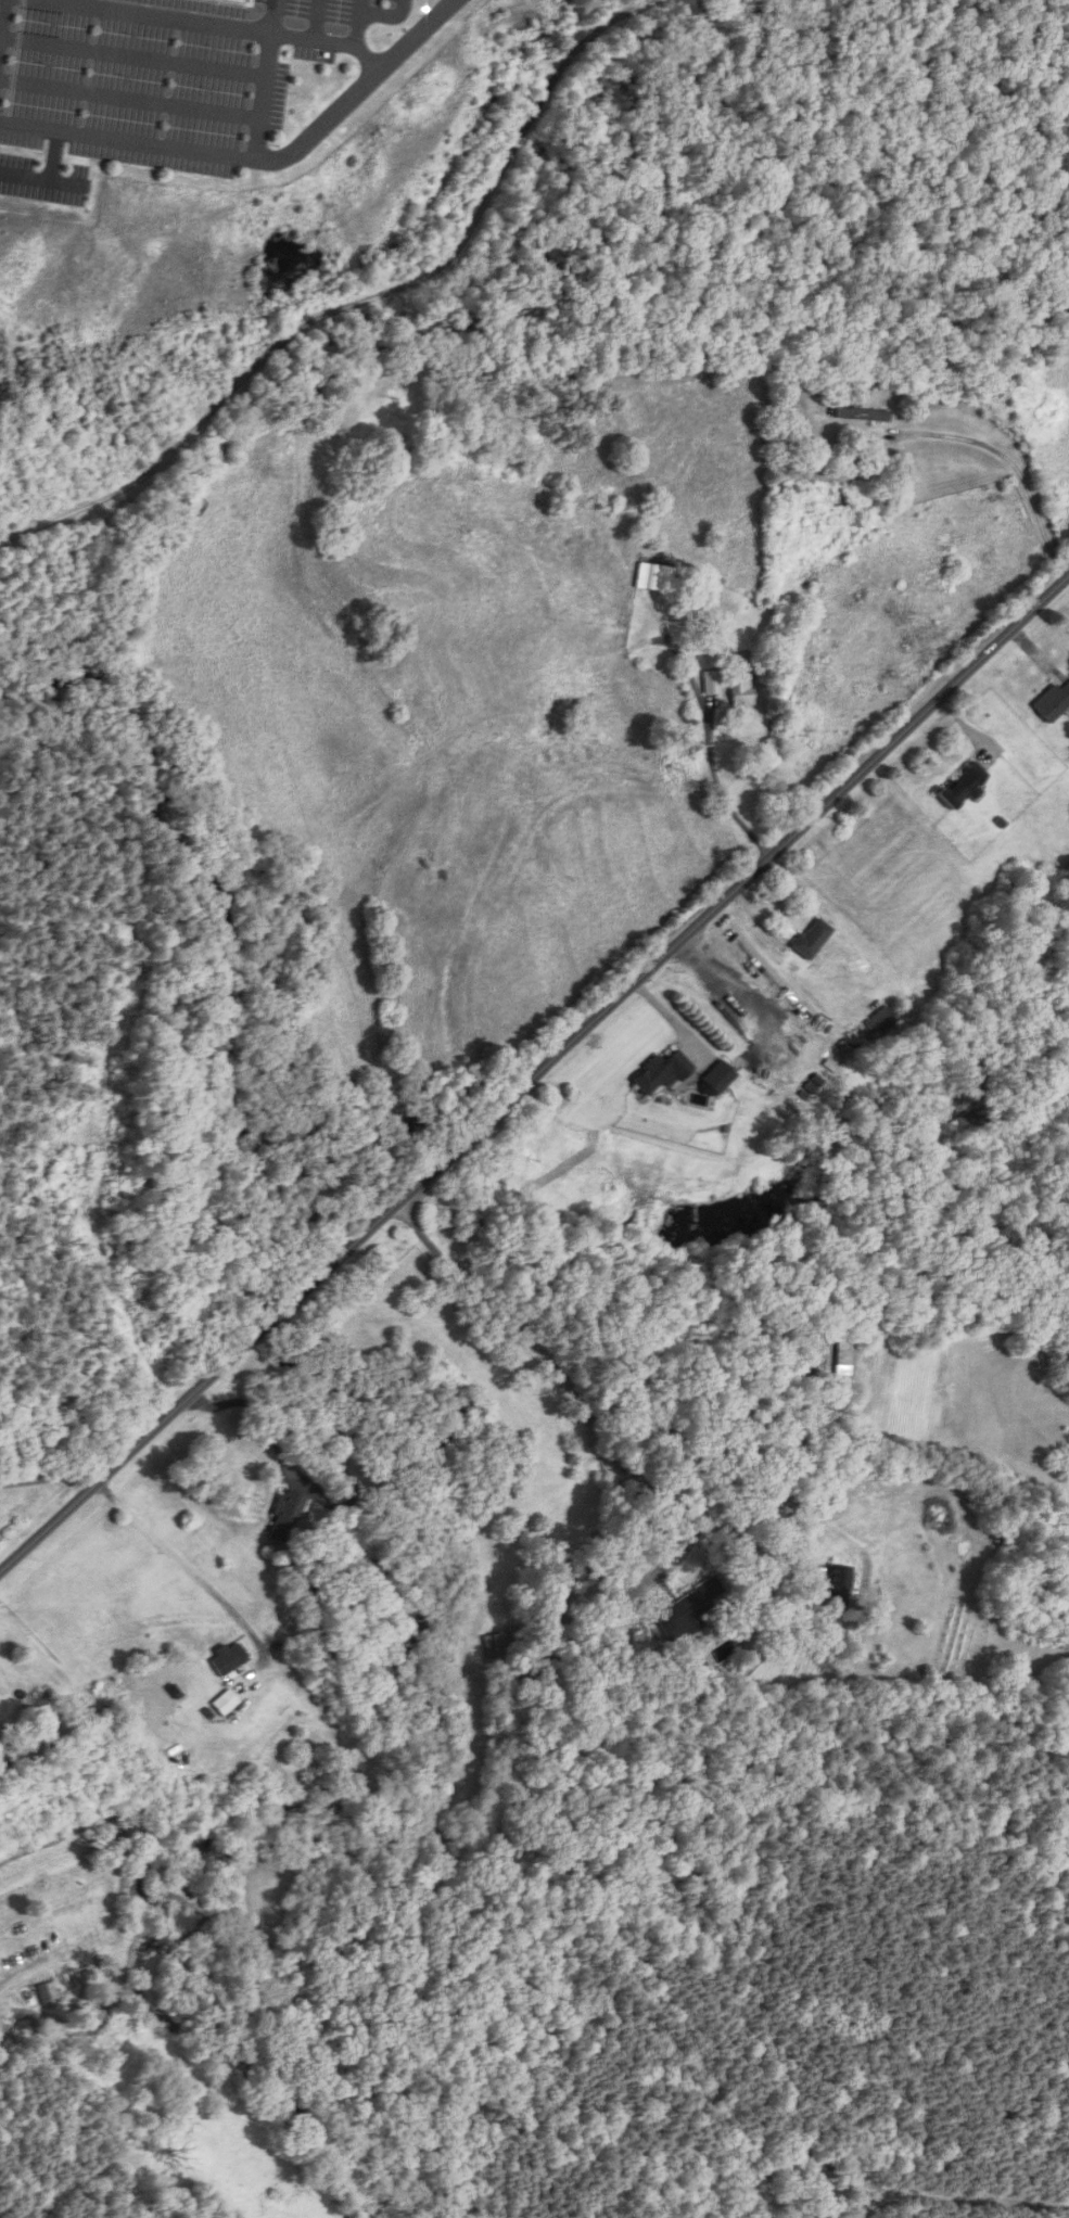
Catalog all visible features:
road: (256, 160)
building: (863, 415)
road: (1011, 461)
building: (654, 577)
building: (711, 683)
building: (741, 687)
building: (1052, 702)
building: (962, 786)
building: (812, 939)
road: (746, 999)
road: (674, 1021)
building: (661, 1072)
road: (533, 1075)
building: (717, 1076)
road: (266, 1326)
building: (815, 1349)
building: (843, 1350)
road: (256, 1405)
road: (594, 1411)
building: (285, 1518)
road: (188, 1564)
building: (835, 1592)
building: (678, 1617)
building: (227, 1659)
building: (224, 1704)
building: (47, 1992)
road: (20, 1994)

